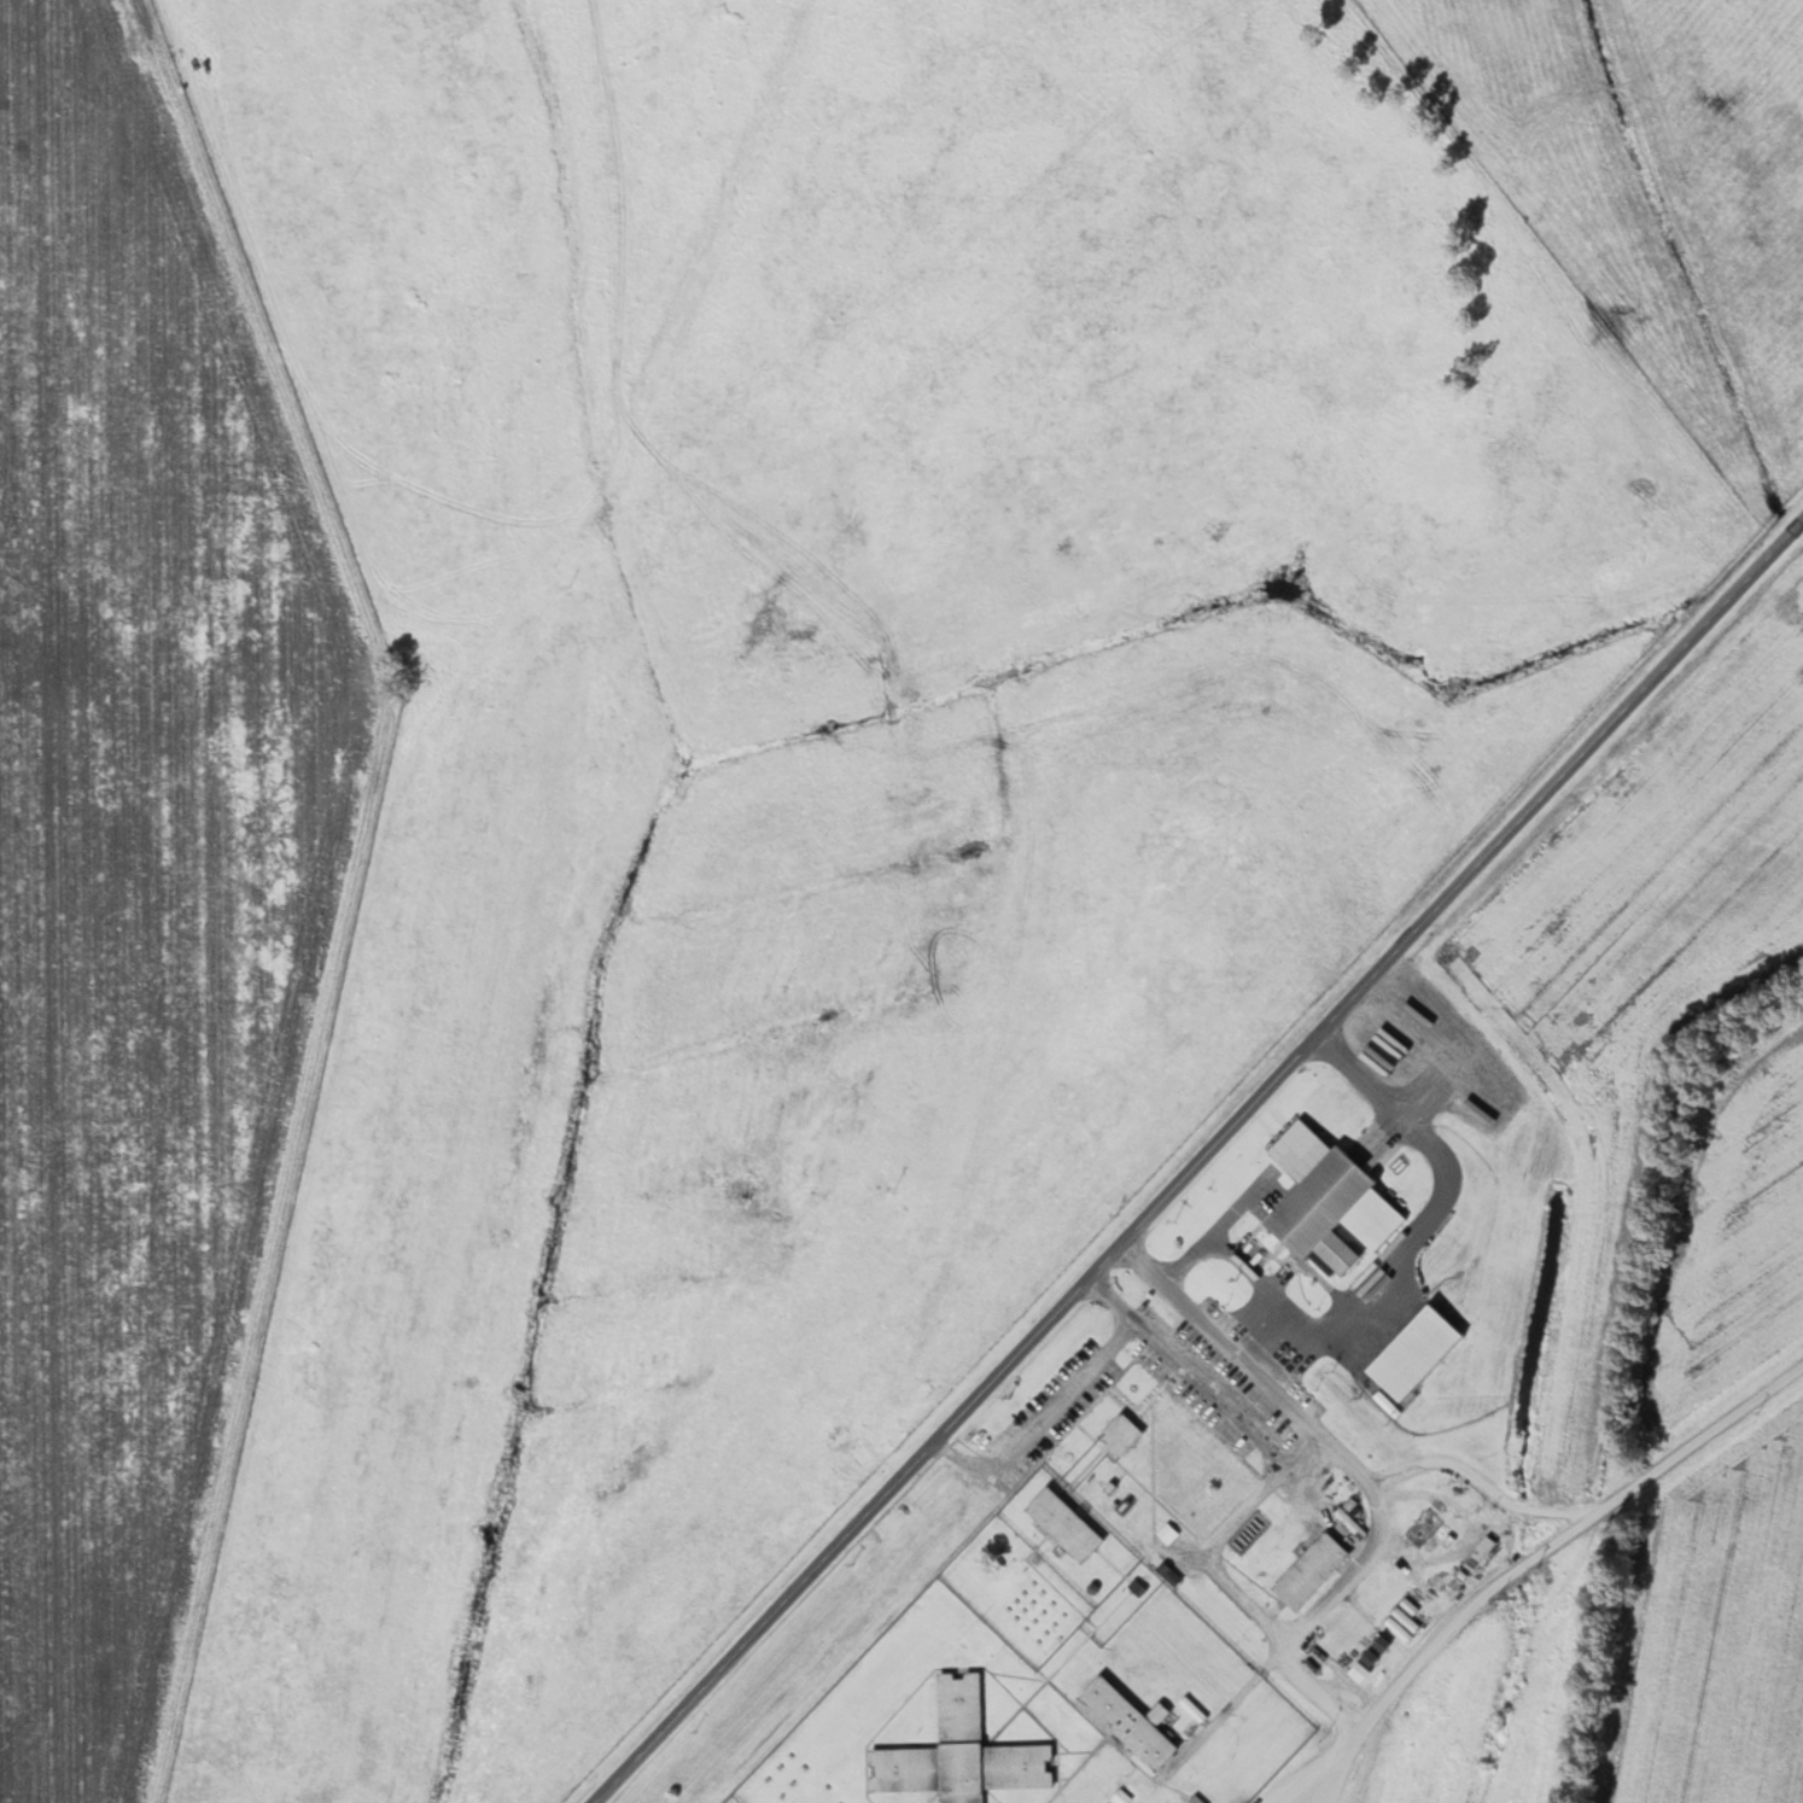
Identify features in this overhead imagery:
road: (1194, 1159)
building: (1325, 1202)
road: (1361, 1286)
road: (1268, 1335)
building: (1407, 1358)
road: (1041, 1420)
building: (1116, 1435)
road: (1306, 1451)
building: (1061, 1525)
building: (1477, 1554)
building: (1307, 1571)
road: (1557, 1586)
building: (1401, 1622)
road: (1276, 1628)
building: (1366, 1659)
building: (1124, 1723)
building: (957, 1754)
building: (1194, 1799)

